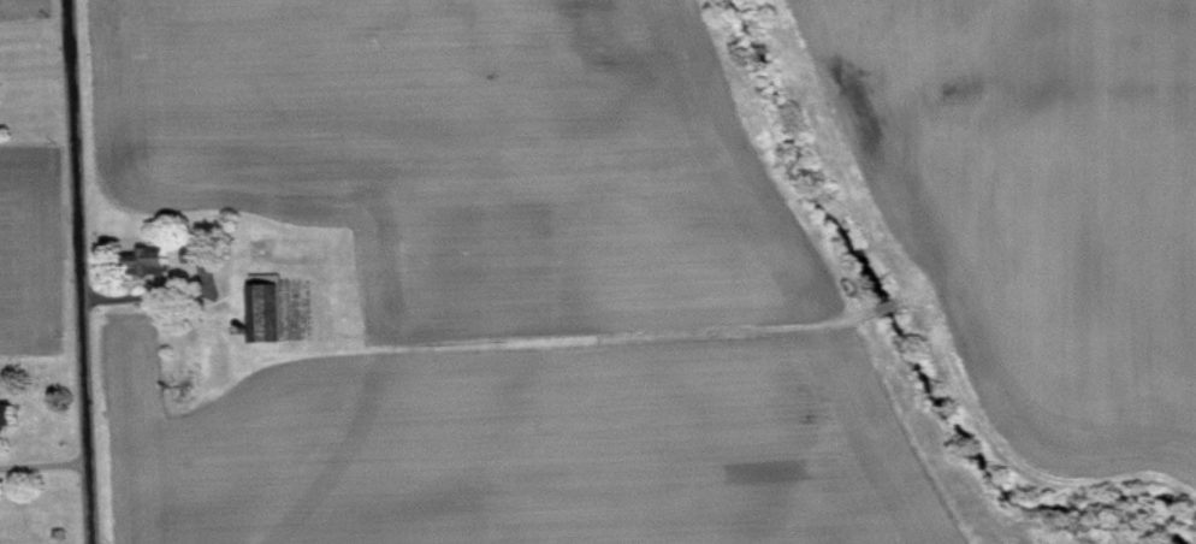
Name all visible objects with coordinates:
road: (35, 29)
building: (201, 261)
building: (158, 268)
road: (79, 272)
building: (273, 319)
building: (11, 424)
road: (43, 472)

